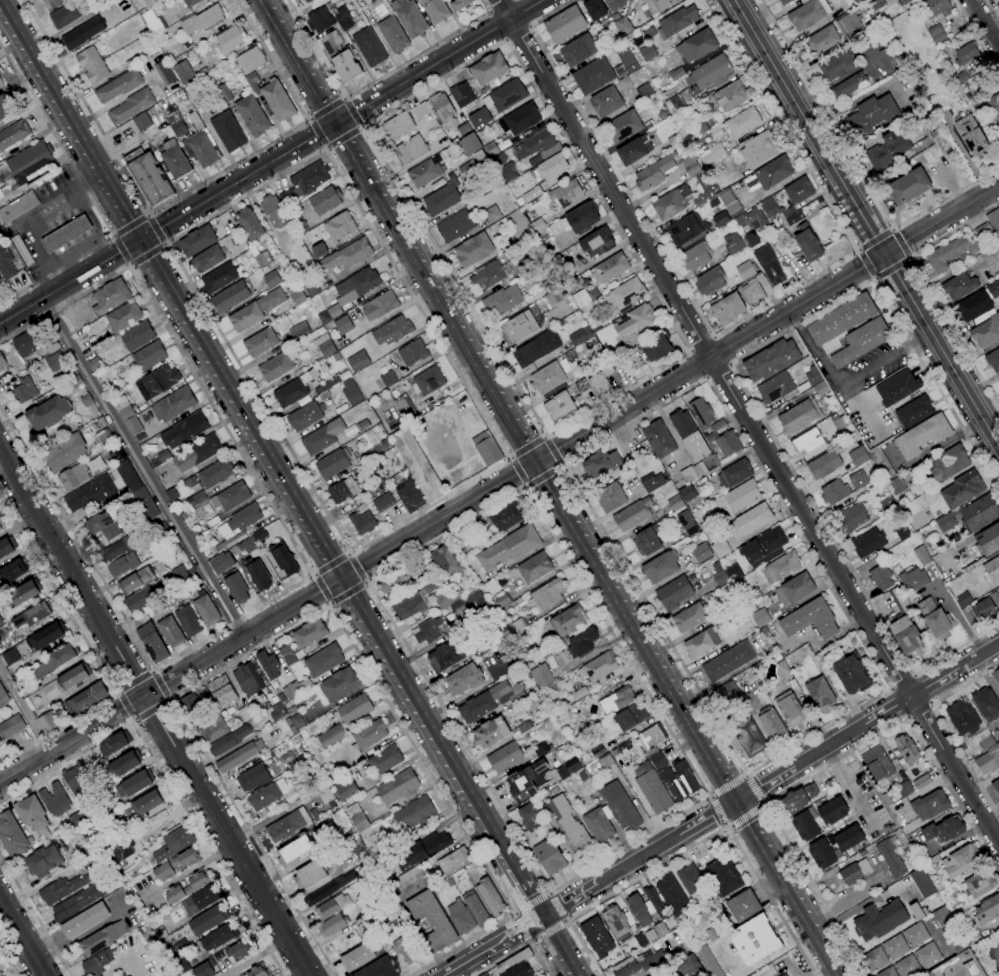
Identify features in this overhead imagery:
building: (308, 1)
building: (803, 1)
building: (147, 2)
building: (785, 2)
building: (850, 2)
building: (902, 2)
building: (52, 3)
building: (191, 3)
building: (461, 4)
building: (615, 4)
building: (876, 4)
building: (122, 5)
road: (484, 5)
building: (660, 5)
road: (500, 6)
building: (379, 7)
building: (938, 7)
building: (595, 9)
building: (435, 10)
road: (992, 11)
road: (489, 12)
road: (520, 13)
building: (808, 14)
building: (65, 16)
building: (409, 18)
building: (343, 19)
building: (203, 20)
building: (320, 20)
road: (283, 22)
building: (677, 22)
building: (153, 23)
road: (984, 23)
building: (565, 24)
road: (498, 25)
building: (623, 26)
building: (849, 26)
road: (529, 27)
building: (870, 27)
building: (650, 32)
building: (84, 33)
road: (517, 33)
building: (393, 34)
building: (937, 34)
building: (230, 39)
road: (975, 39)
road: (506, 40)
building: (822, 40)
building: (697, 46)
building: (370, 47)
building: (578, 50)
building: (648, 52)
building: (966, 53)
road: (295, 54)
building: (890, 58)
building: (340, 59)
building: (627, 59)
building: (250, 60)
building: (133, 61)
road: (292, 62)
road: (437, 62)
building: (92, 65)
building: (837, 65)
building: (488, 68)
road: (40, 69)
road: (318, 69)
building: (164, 72)
building: (184, 72)
building: (709, 73)
building: (677, 74)
road: (32, 76)
building: (593, 76)
building: (961, 77)
building: (1, 83)
road: (367, 84)
building: (119, 86)
building: (848, 86)
building: (644, 91)
building: (224, 93)
building: (461, 94)
building: (195, 96)
building: (273, 96)
building: (505, 96)
building: (730, 96)
building: (172, 98)
road: (343, 99)
building: (679, 101)
building: (606, 102)
building: (994, 105)
road: (85, 106)
building: (131, 106)
building: (5, 107)
building: (442, 107)
road: (325, 109)
building: (420, 111)
road: (350, 113)
building: (252, 115)
building: (872, 115)
traffic signals: (345, 116)
road: (346, 117)
building: (522, 118)
building: (173, 119)
road: (308, 119)
building: (142, 122)
building: (743, 122)
traffic signals: (330, 124)
building: (649, 125)
building: (397, 126)
building: (624, 126)
building: (704, 126)
road: (361, 127)
building: (464, 129)
building: (228, 131)
road: (286, 131)
road: (318, 132)
building: (935, 133)
building: (13, 134)
road: (73, 134)
building: (972, 135)
road: (342, 136)
building: (675, 140)
building: (472, 146)
road: (344, 147)
building: (203, 148)
road: (325, 148)
building: (536, 148)
building: (491, 149)
building: (759, 149)
building: (410, 150)
building: (634, 151)
building: (887, 151)
building: (713, 154)
road: (92, 156)
building: (174, 156)
road: (370, 158)
building: (498, 160)
building: (690, 166)
road: (857, 166)
building: (24, 167)
building: (552, 167)
building: (426, 172)
building: (506, 172)
building: (655, 172)
building: (773, 172)
road: (367, 175)
building: (311, 177)
building: (148, 178)
building: (720, 183)
building: (909, 188)
road: (112, 190)
building: (799, 191)
building: (567, 193)
building: (532, 194)
building: (704, 196)
road: (88, 198)
building: (288, 198)
building: (443, 198)
building: (325, 200)
road: (100, 203)
building: (672, 203)
building: (713, 203)
building: (730, 204)
building: (18, 207)
building: (770, 207)
building: (274, 212)
building: (787, 212)
building: (492, 213)
road: (147, 214)
building: (795, 217)
building: (581, 218)
building: (721, 219)
building: (755, 219)
building: (993, 219)
road: (39, 221)
road: (131, 221)
building: (298, 221)
road: (165, 223)
building: (738, 223)
road: (867, 223)
building: (249, 224)
road: (130, 225)
building: (339, 226)
building: (455, 226)
building: (537, 226)
building: (686, 229)
road: (892, 229)
road: (155, 230)
building: (983, 231)
building: (66, 234)
gas station: (66, 234)
road: (112, 235)
traffic signals: (140, 238)
building: (751, 239)
building: (235, 240)
road: (874, 240)
building: (197, 241)
building: (597, 242)
building: (733, 243)
building: (808, 243)
road: (898, 243)
road: (164, 244)
road: (126, 246)
traffic signals: (127, 247)
road: (120, 249)
road: (856, 249)
building: (20, 250)
building: (474, 250)
building: (318, 251)
building: (951, 252)
road: (146, 253)
traffic signals: (886, 254)
building: (347, 255)
street lamp: (82, 256)
building: (695, 256)
road: (909, 257)
building: (207, 259)
building: (260, 261)
building: (5, 263)
road: (866, 263)
road: (129, 264)
building: (524, 265)
building: (769, 265)
road: (891, 266)
building: (609, 268)
building: (746, 270)
building: (489, 274)
building: (218, 278)
road: (874, 278)
building: (272, 279)
building: (710, 281)
building: (584, 283)
building: (0, 285)
building: (357, 286)
building: (546, 286)
road: (928, 286)
building: (959, 286)
road: (440, 287)
building: (311, 288)
building: (994, 289)
building: (755, 290)
building: (625, 294)
building: (296, 295)
building: (110, 296)
building: (231, 297)
building: (554, 297)
building: (584, 297)
road: (156, 298)
building: (502, 301)
building: (303, 305)
building: (380, 305)
building: (972, 306)
building: (727, 309)
building: (256, 310)
building: (329, 314)
building: (124, 316)
road: (444, 318)
building: (603, 318)
road: (183, 319)
building: (637, 320)
road: (72, 321)
road: (732, 323)
building: (342, 325)
building: (519, 327)
building: (849, 330)
building: (299, 331)
building: (393, 331)
building: (986, 331)
building: (137, 336)
road: (713, 336)
building: (579, 337)
building: (261, 342)
building: (26, 343)
road: (702, 344)
building: (324, 345)
building: (52, 347)
building: (657, 347)
road: (685, 348)
building: (537, 349)
road: (688, 350)
road: (719, 351)
building: (412, 352)
building: (149, 356)
building: (771, 360)
building: (993, 360)
building: (358, 361)
building: (55, 362)
building: (94, 362)
building: (2, 363)
road: (698, 363)
road: (728, 364)
building: (800, 364)
building: (278, 365)
building: (323, 368)
road: (716, 369)
building: (813, 376)
road: (706, 377)
building: (388, 378)
building: (547, 378)
building: (601, 380)
building: (428, 381)
building: (75, 382)
building: (157, 382)
road: (670, 382)
road: (847, 382)
road: (740, 383)
building: (998, 383)
building: (328, 385)
building: (581, 386)
building: (803, 387)
building: (775, 388)
building: (897, 388)
building: (821, 389)
building: (24, 390)
building: (292, 391)
building: (114, 392)
road: (232, 392)
building: (352, 394)
building: (86, 400)
building: (173, 404)
road: (502, 404)
building: (404, 405)
building: (560, 406)
building: (124, 409)
building: (914, 412)
building: (48, 413)
road: (521, 413)
building: (701, 413)
building: (305, 416)
building: (799, 416)
road: (238, 422)
road: (749, 422)
building: (102, 423)
building: (841, 425)
building: (133, 426)
building: (363, 426)
building: (184, 430)
building: (689, 435)
building: (923, 435)
road: (545, 436)
building: (323, 437)
building: (659, 439)
building: (724, 439)
building: (101, 441)
building: (807, 442)
building: (385, 443)
road: (527, 447)
building: (487, 449)
road: (551, 451)
building: (64, 452)
building: (197, 453)
road: (1, 454)
road: (546, 454)
building: (117, 455)
building: (164, 455)
traffic signals: (547, 455)
building: (858, 456)
road: (507, 457)
road: (509, 457)
building: (333, 463)
building: (601, 463)
building: (949, 463)
building: (824, 464)
building: (881, 464)
building: (417, 465)
traffic signals: (532, 465)
road: (560, 465)
road: (140, 468)
road: (518, 471)
building: (693, 472)
building: (216, 473)
road: (543, 474)
building: (735, 474)
building: (74, 475)
building: (128, 476)
building: (396, 478)
building: (858, 480)
road: (541, 481)
building: (190, 482)
building: (652, 482)
road: (527, 485)
building: (896, 486)
building: (376, 488)
building: (962, 489)
building: (343, 490)
building: (834, 492)
building: (687, 493)
building: (91, 494)
building: (171, 494)
building: (410, 496)
building: (742, 496)
building: (610, 497)
building: (195, 498)
road: (572, 498)
building: (226, 499)
building: (146, 503)
building: (178, 503)
building: (383, 503)
building: (675, 503)
building: (889, 504)
building: (633, 514)
building: (971, 515)
building: (244, 517)
road: (300, 517)
building: (507, 517)
building: (852, 518)
building: (723, 519)
building: (212, 521)
road: (572, 521)
building: (750, 521)
building: (363, 522)
building: (687, 523)
building: (104, 524)
building: (1, 525)
building: (706, 527)
building: (164, 534)
building: (903, 534)
building: (260, 535)
building: (647, 541)
building: (987, 541)
building: (868, 542)
road: (300, 543)
building: (226, 544)
building: (247, 544)
building: (7, 547)
building: (764, 547)
building: (117, 548)
building: (510, 548)
building: (719, 548)
building: (701, 552)
road: (347, 554)
building: (922, 556)
building: (283, 559)
road: (570, 560)
building: (221, 563)
road: (304, 563)
road: (332, 563)
building: (123, 565)
road: (330, 565)
building: (661, 567)
building: (780, 567)
road: (354, 569)
building: (449, 569)
building: (531, 569)
building: (992, 569)
building: (13, 571)
building: (733, 572)
building: (258, 574)
road: (312, 574)
building: (181, 576)
road: (321, 576)
building: (720, 577)
building: (880, 577)
traffic signals: (342, 578)
building: (136, 580)
building: (393, 580)
building: (913, 580)
road: (364, 581)
road: (335, 582)
building: (235, 586)
traffic signals: (328, 586)
road: (322, 588)
building: (998, 588)
building: (794, 589)
building: (24, 592)
road: (346, 592)
building: (674, 593)
road: (332, 595)
building: (752, 595)
building: (546, 596)
building: (994, 598)
building: (502, 599)
building: (963, 599)
building: (140, 600)
building: (442, 600)
building: (414, 602)
building: (472, 602)
road: (329, 604)
building: (206, 609)
building: (725, 611)
building: (979, 611)
building: (34, 615)
building: (689, 617)
building: (760, 617)
building: (935, 618)
building: (810, 619)
building: (568, 620)
building: (1, 621)
building: (189, 621)
building: (904, 623)
building: (519, 624)
road: (350, 626)
road: (628, 627)
building: (427, 631)
road: (644, 631)
building: (171, 632)
building: (310, 633)
road: (370, 635)
building: (45, 637)
building: (150, 639)
building: (582, 642)
building: (701, 643)
road: (92, 653)
building: (287, 655)
road: (978, 655)
building: (446, 656)
building: (10, 657)
building: (324, 660)
building: (55, 661)
building: (728, 662)
building: (269, 665)
building: (597, 667)
building: (784, 669)
road: (152, 671)
building: (852, 673)
road: (913, 674)
building: (541, 675)
building: (74, 676)
building: (996, 676)
building: (248, 679)
building: (464, 679)
road: (134, 681)
road: (901, 682)
road: (163, 684)
building: (340, 684)
road: (158, 685)
building: (296, 688)
road: (887, 688)
road: (889, 689)
road: (920, 689)
building: (222, 691)
road: (117, 692)
building: (581, 693)
building: (820, 693)
building: (727, 695)
road: (910, 696)
building: (3, 697)
building: (86, 699)
road: (168, 699)
building: (617, 700)
building: (489, 701)
road: (897, 702)
road: (930, 702)
road: (126, 704)
building: (986, 704)
building: (192, 707)
road: (150, 708)
building: (210, 708)
road: (917, 708)
building: (354, 709)
building: (790, 709)
road: (24, 711)
building: (292, 711)
road: (155, 713)
building: (246, 714)
building: (631, 717)
road: (905, 717)
building: (963, 717)
road: (133, 719)
building: (298, 720)
building: (47, 723)
building: (998, 723)
building: (772, 724)
building: (11, 726)
road: (944, 727)
building: (212, 729)
road: (431, 729)
building: (491, 732)
building: (331, 736)
building: (368, 736)
building: (749, 738)
building: (984, 740)
building: (0, 741)
building: (228, 741)
building: (114, 744)
road: (827, 745)
building: (646, 747)
road: (706, 748)
building: (907, 749)
road: (432, 750)
building: (540, 750)
building: (597, 751)
road: (724, 754)
building: (239, 756)
building: (505, 757)
road: (206, 760)
building: (384, 760)
building: (988, 760)
building: (126, 763)
building: (877, 763)
building: (572, 765)
building: (599, 765)
road: (824, 765)
building: (561, 772)
road: (59, 774)
building: (294, 774)
road: (745, 775)
building: (253, 778)
building: (77, 779)
road: (718, 779)
road: (58, 780)
building: (527, 781)
building: (679, 781)
building: (922, 781)
road: (27, 782)
building: (137, 782)
road: (168, 782)
road: (762, 784)
building: (830, 785)
road: (727, 786)
building: (398, 787)
building: (652, 788)
road: (751, 788)
building: (995, 788)
building: (904, 789)
building: (345, 790)
road: (53, 791)
road: (49, 793)
road: (747, 793)
traffic signals: (747, 793)
road: (48, 794)
building: (295, 794)
building: (324, 794)
building: (267, 795)
building: (111, 797)
road: (708, 797)
building: (798, 799)
building: (887, 799)
building: (55, 800)
building: (147, 801)
road: (167, 802)
road: (760, 802)
traffic signals: (732, 803)
street lamp: (227, 805)
building: (930, 805)
building: (620, 806)
road: (760, 807)
road: (450, 810)
building: (833, 810)
road: (716, 811)
building: (31, 813)
building: (414, 813)
road: (170, 815)
road: (503, 815)
building: (529, 815)
road: (744, 817)
building: (76, 819)
road: (704, 819)
road: (742, 819)
road: (266, 820)
building: (342, 821)
building: (288, 825)
building: (568, 825)
building: (599, 825)
road: (724, 825)
building: (805, 826)
road: (729, 827)
building: (96, 829)
building: (944, 830)
road: (771, 834)
building: (12, 835)
building: (849, 838)
building: (173, 842)
building: (37, 846)
building: (119, 849)
building: (359, 849)
building: (423, 850)
building: (294, 851)
building: (821, 854)
building: (549, 856)
road: (770, 856)
road: (501, 857)
road: (636, 859)
building: (891, 859)
building: (45, 860)
building: (454, 860)
building: (962, 861)
building: (174, 863)
building: (930, 863)
road: (197, 866)
road: (290, 866)
road: (322, 868)
building: (133, 870)
road: (324, 870)
road: (327, 872)
building: (854, 872)
building: (308, 874)
building: (725, 875)
building: (405, 879)
building: (690, 879)
road: (500, 881)
road: (289, 883)
building: (922, 883)
building: (980, 883)
road: (301, 885)
building: (186, 886)
road: (287, 888)
road: (783, 888)
building: (61, 889)
road: (302, 889)
building: (329, 889)
road: (618, 889)
road: (797, 892)
road: (149, 893)
road: (548, 893)
parking lot: (147, 894)
road: (301, 894)
building: (672, 895)
building: (490, 897)
road: (531, 898)
building: (199, 899)
building: (371, 899)
building: (81, 900)
road: (568, 900)
road: (770, 900)
road: (530, 903)
building: (656, 903)
building: (332, 906)
building: (743, 906)
road: (557, 907)
building: (475, 908)
road: (242, 909)
building: (638, 910)
building: (987, 911)
building: (918, 912)
building: (956, 912)
road: (514, 914)
road: (520, 914)
road: (356, 916)
traffic signals: (541, 916)
road: (307, 917)
building: (461, 917)
road: (34, 918)
road: (296, 918)
building: (206, 919)
building: (84, 920)
building: (433, 920)
road: (564, 920)
building: (879, 920)
road: (254, 921)
building: (616, 922)
building: (332, 925)
traffic signals: (527, 925)
road: (523, 926)
road: (520, 927)
building: (951, 929)
street lamp: (260, 930)
road: (320, 931)
road: (530, 931)
traffic signals: (531, 931)
road: (549, 931)
building: (145, 933)
building: (161, 933)
road: (532, 933)
road: (816, 933)
road: (315, 934)
building: (711, 934)
building: (915, 935)
road: (22, 937)
building: (216, 937)
building: (597, 937)
building: (973, 937)
building: (103, 938)
building: (382, 938)
road: (324, 940)
building: (640, 940)
building: (754, 940)
road: (528, 941)
road: (531, 941)
road: (495, 944)
building: (179, 945)
road: (559, 945)
building: (895, 947)
building: (409, 948)
road: (517, 949)
building: (236, 950)
building: (247, 951)
building: (217, 955)
building: (927, 955)
road: (995, 955)
road: (249, 956)
road: (255, 956)
building: (357, 957)
road: (547, 959)
road: (824, 959)
building: (874, 959)
road: (254, 960)
building: (514, 960)
road: (8, 961)
building: (98, 961)
building: (650, 961)
building: (707, 962)
road: (463, 963)
building: (259, 964)
building: (180, 966)
building: (688, 966)
building: (907, 966)
parking lot: (223, 967)
building: (203, 968)
building: (380, 968)
building: (961, 968)
building: (627, 969)
road: (334, 970)
building: (518, 970)
building: (256, 971)
road: (572, 972)
building: (887, 972)
building: (484, 974)
building: (120, 975)
building: (123, 975)
building: (784, 975)

